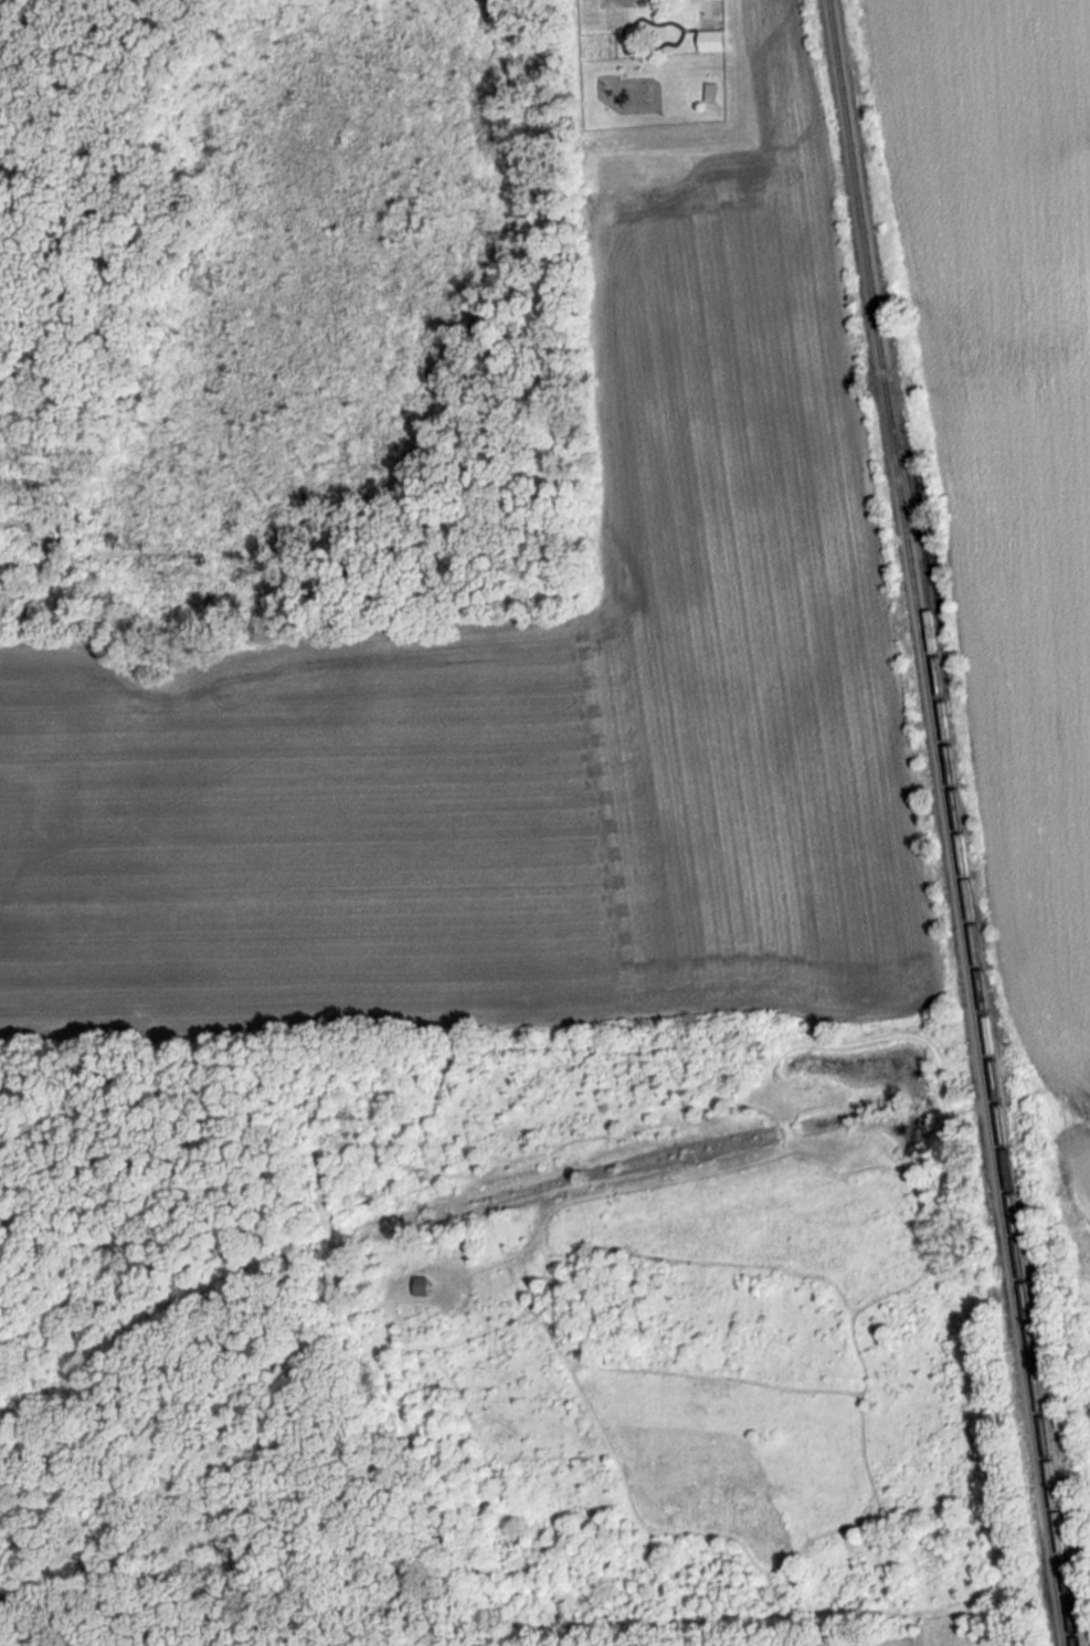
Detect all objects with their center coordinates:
building: (712, 39)
railway: (946, 823)
railway: (986, 1016)
building: (428, 1281)
park: (497, 1340)

